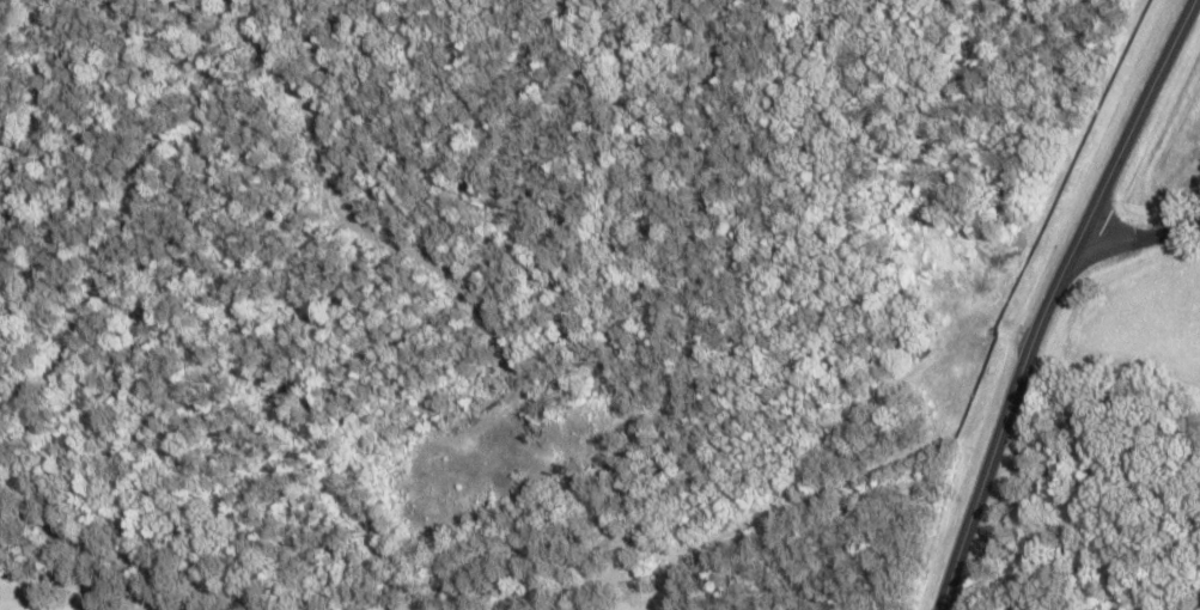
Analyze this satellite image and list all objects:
road: (1138, 239)
road: (1044, 297)

